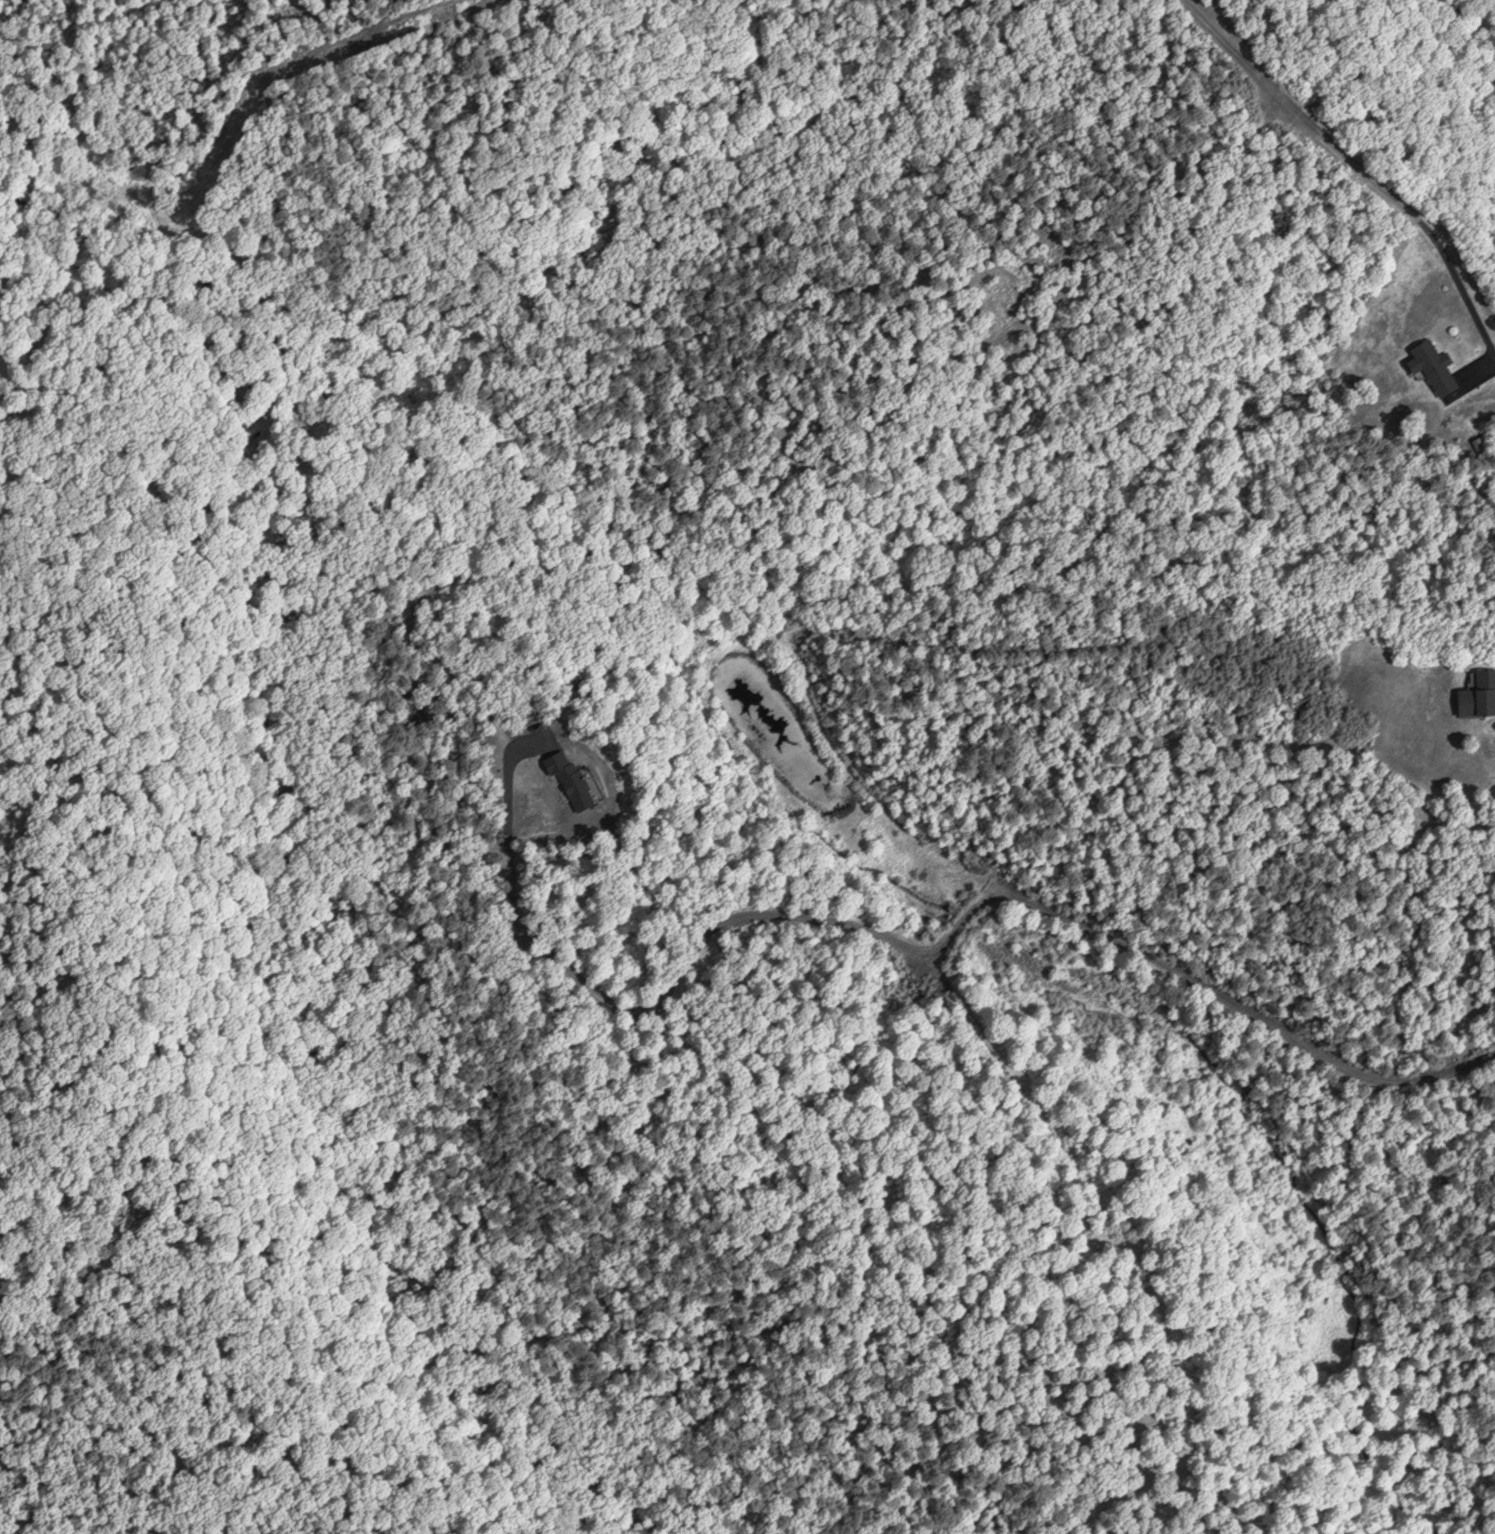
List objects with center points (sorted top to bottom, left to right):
road: (1357, 163)
building: (1434, 366)
building: (240, 392)
building: (1479, 693)
road: (864, 785)
road: (967, 1004)

